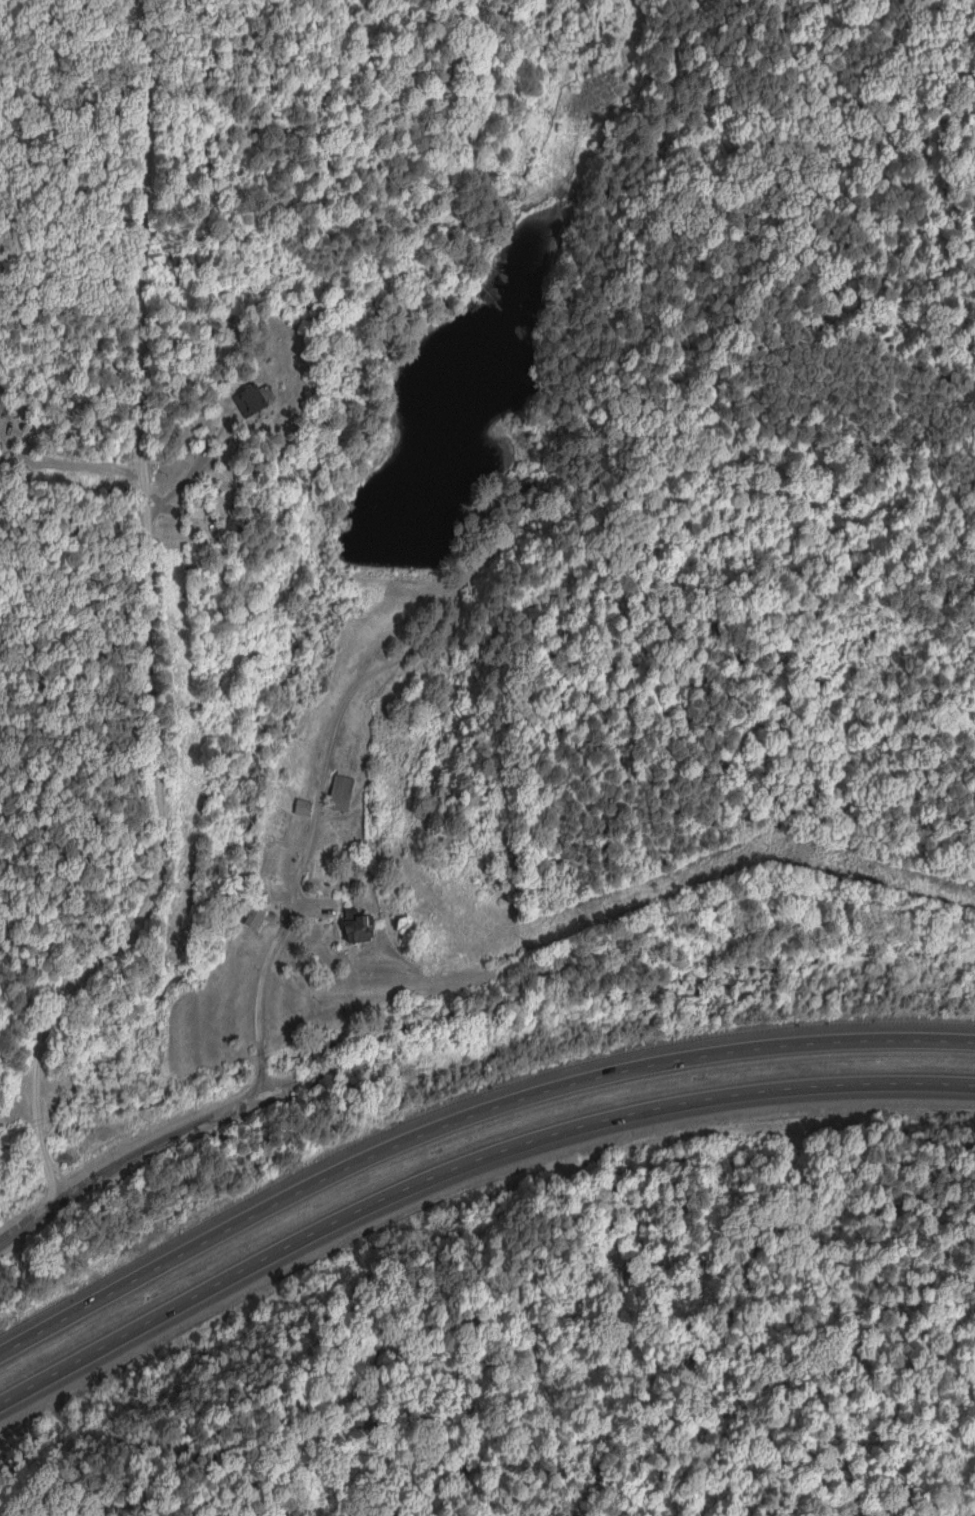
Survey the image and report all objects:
road: (80, 336)
building: (250, 402)
building: (0, 406)
road: (156, 654)
building: (338, 793)
building: (301, 808)
road: (294, 875)
building: (256, 917)
building: (354, 927)
road: (464, 1118)
road: (189, 1126)
road: (463, 1162)

